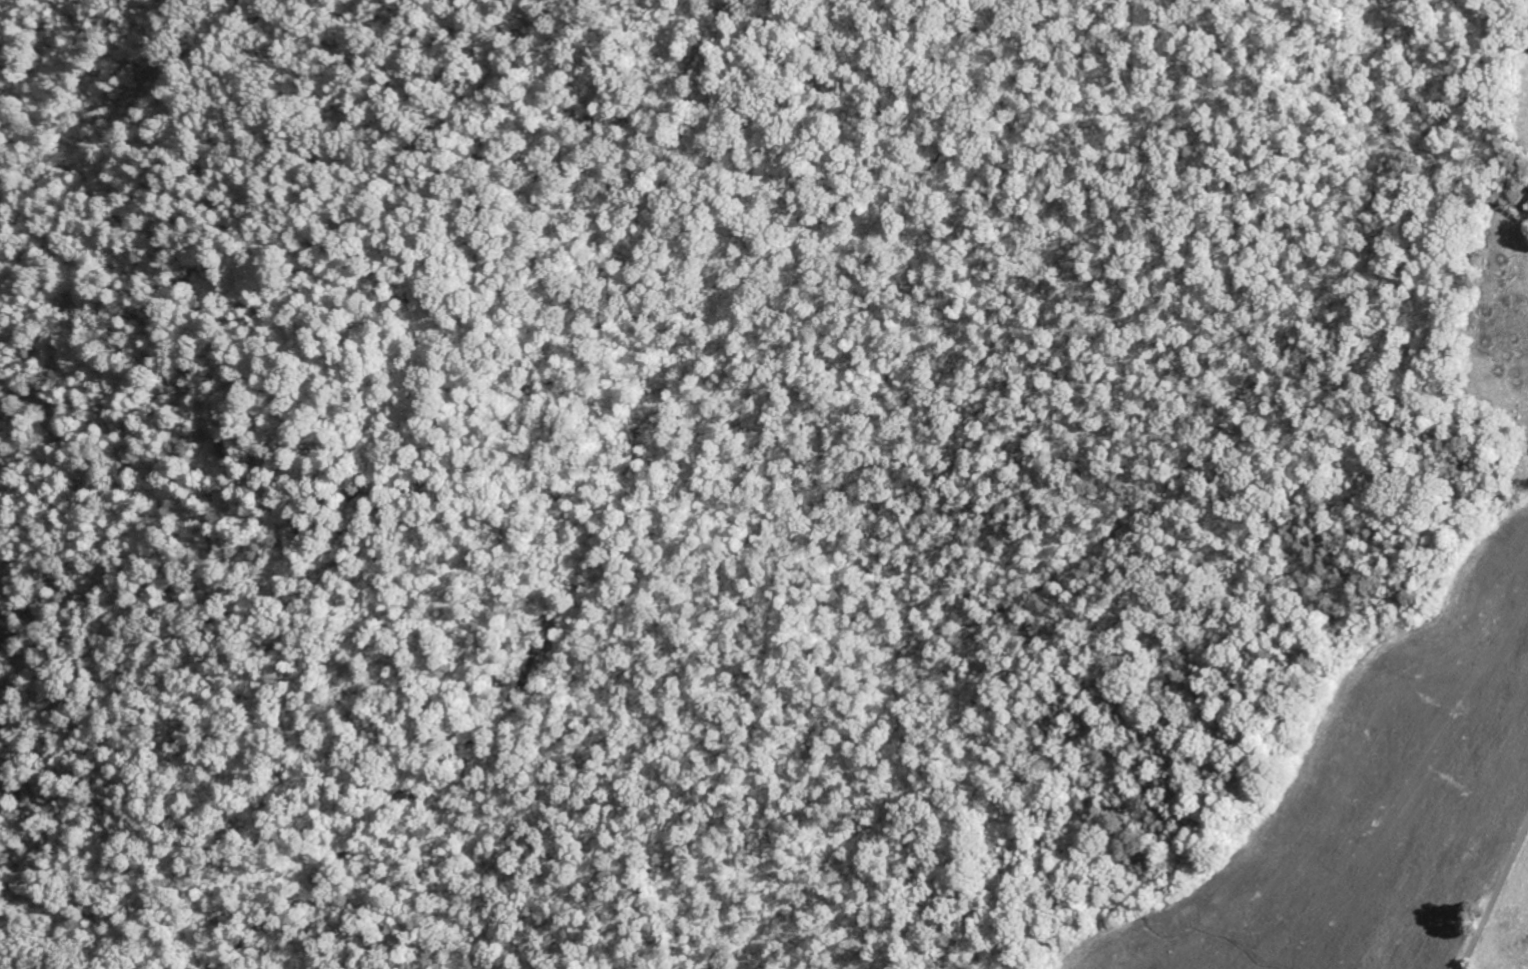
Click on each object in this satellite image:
road: (1494, 895)

